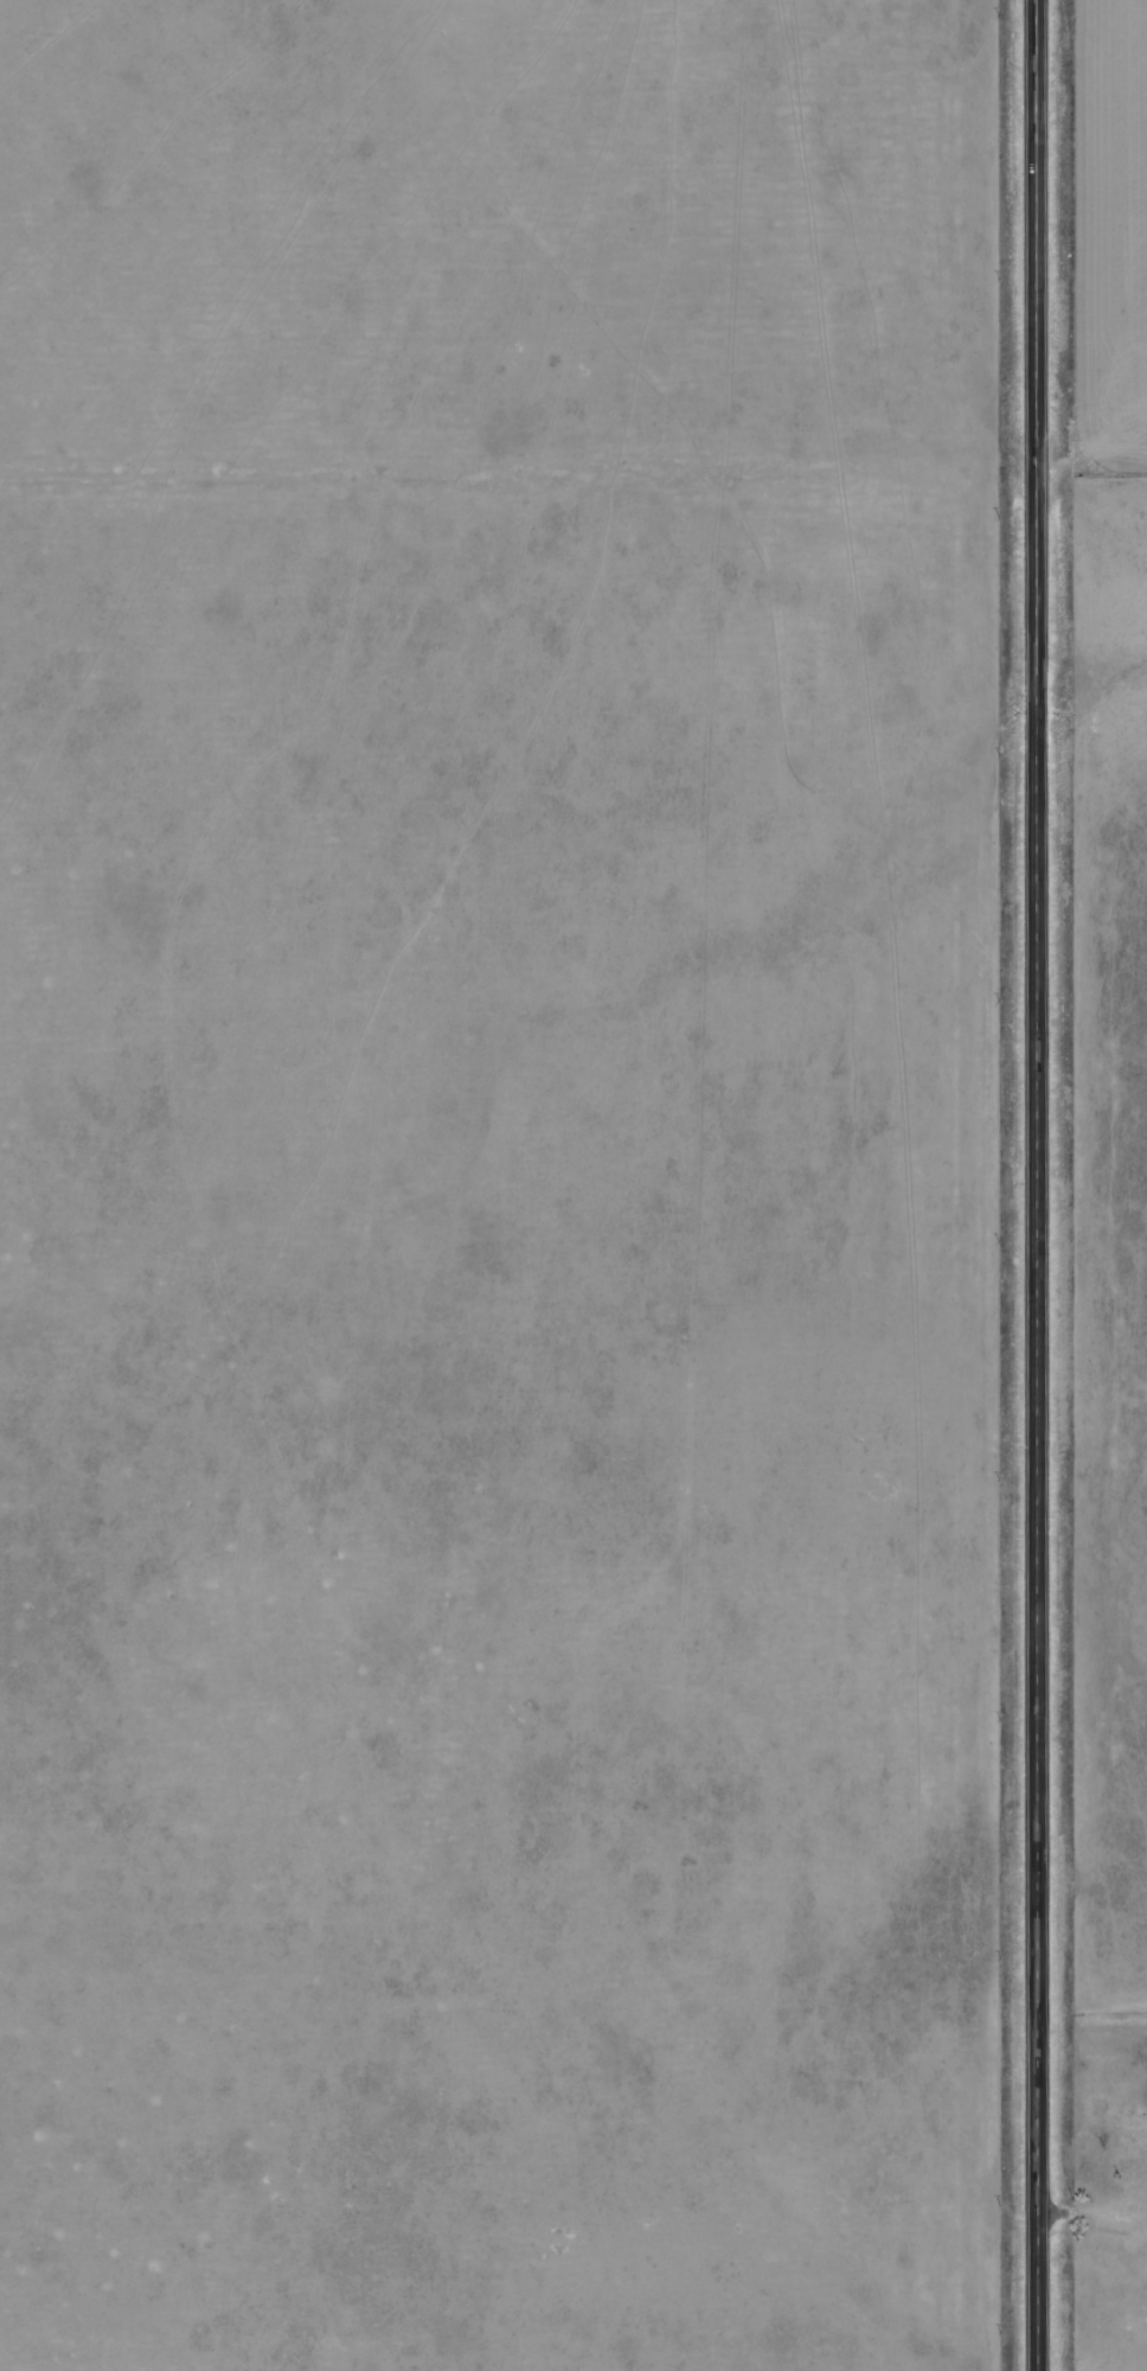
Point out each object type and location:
road: (1044, 1185)

